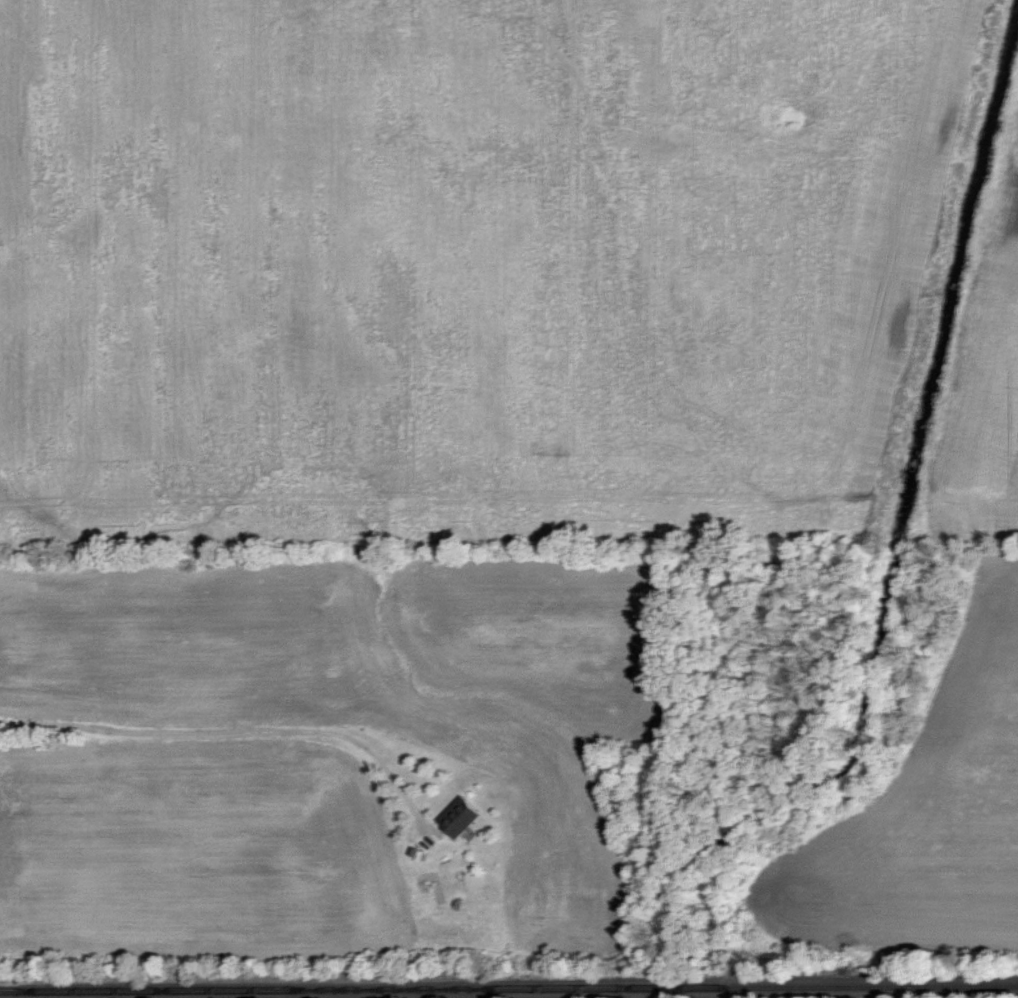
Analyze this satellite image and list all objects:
road: (236, 734)
building: (465, 817)
railway: (509, 989)

